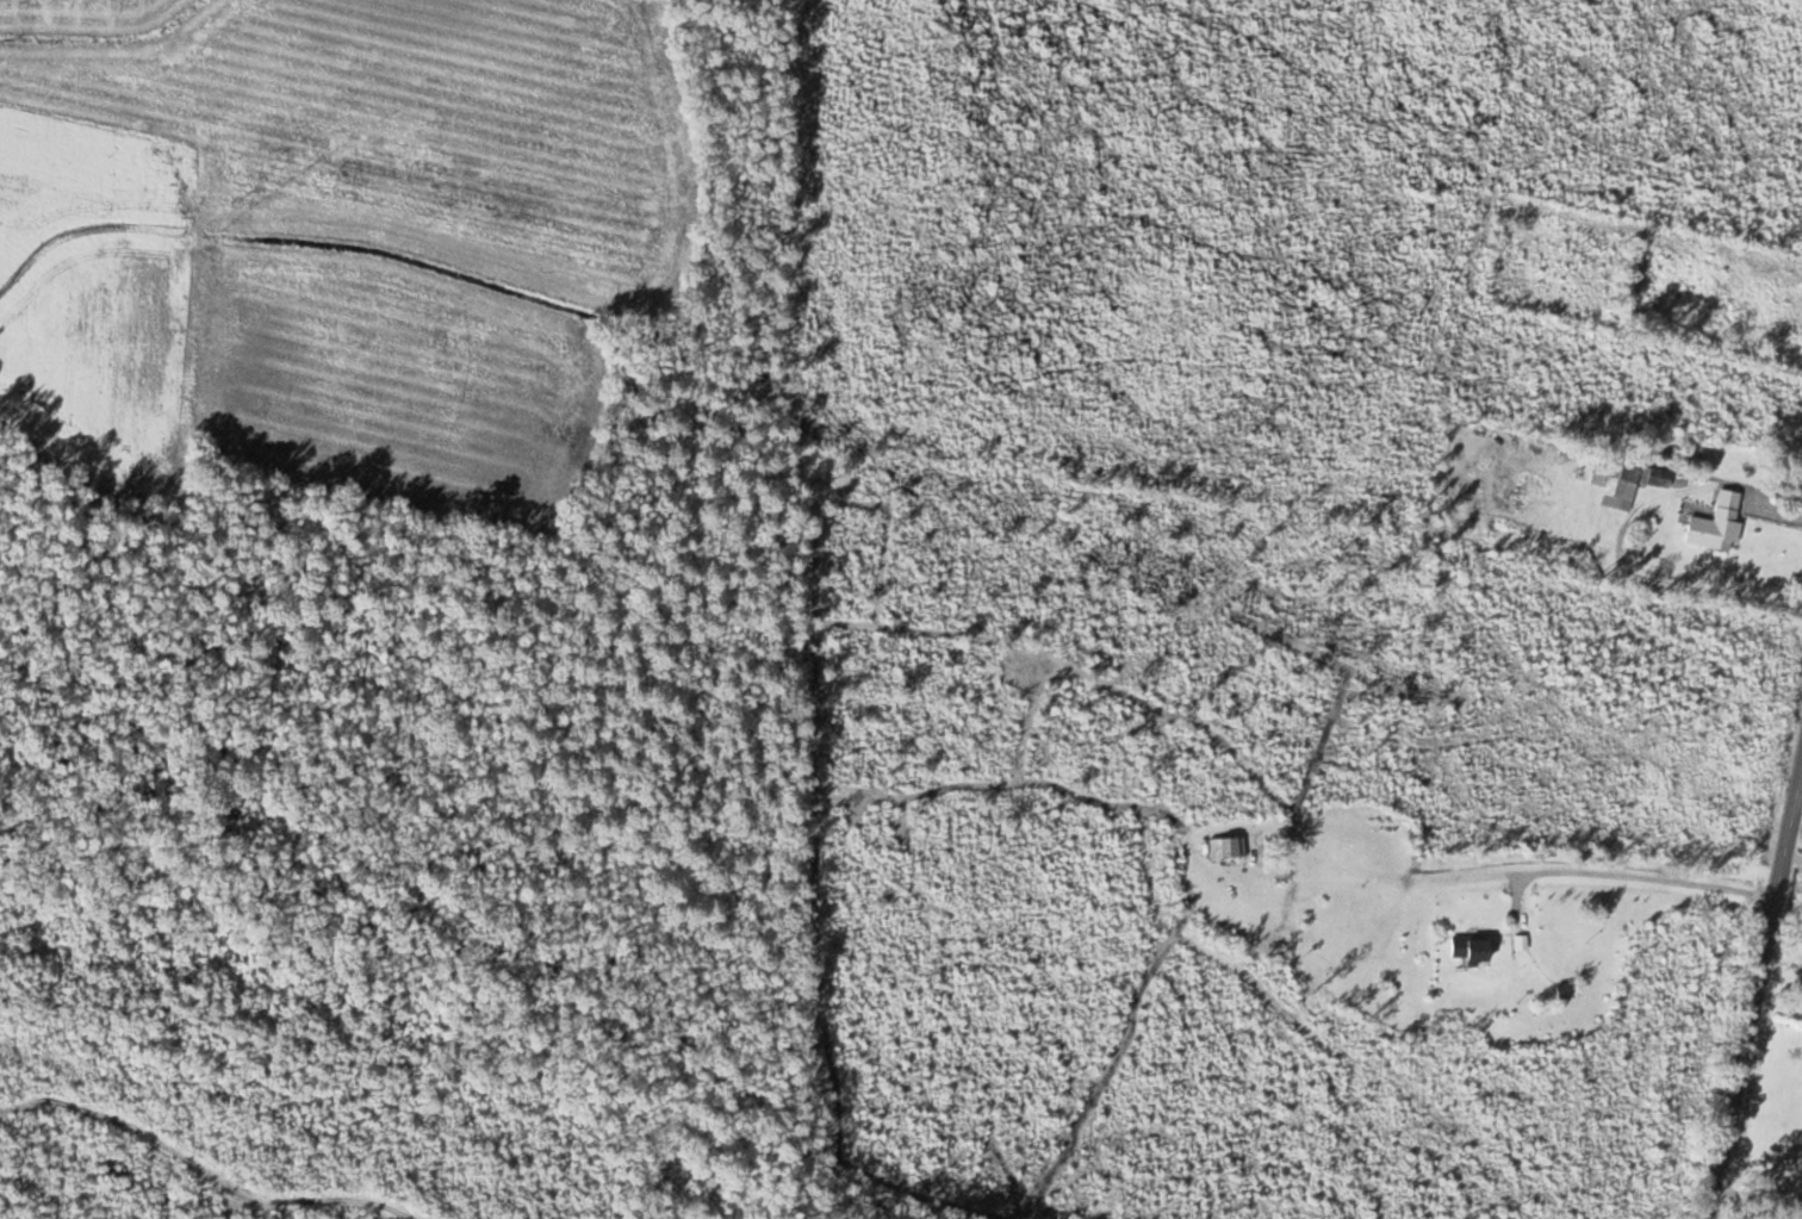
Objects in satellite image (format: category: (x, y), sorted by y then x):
building: (1618, 479)
building: (1719, 524)
building: (1229, 848)
building: (1473, 950)
river: (416, 962)
building: (1566, 990)
road: (1754, 990)

